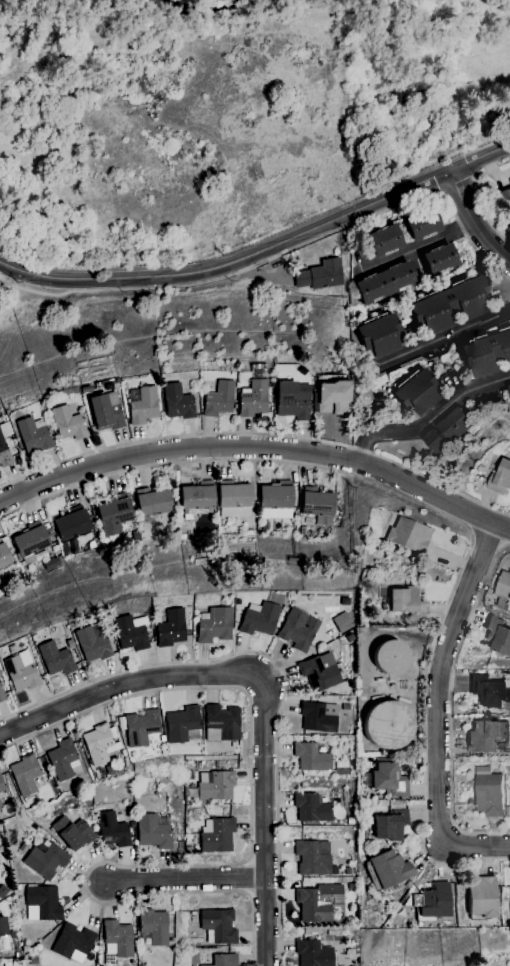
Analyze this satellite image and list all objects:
river: (152, 5)
park: (226, 115)
road: (456, 188)
road: (475, 196)
building: (505, 202)
road: (472, 221)
building: (422, 224)
building: (384, 240)
road: (419, 246)
road: (262, 251)
road: (278, 255)
building: (440, 259)
building: (320, 276)
building: (386, 282)
building: (451, 304)
building: (380, 334)
road: (445, 338)
building: (486, 353)
building: (262, 367)
building: (509, 385)
building: (85, 389)
building: (417, 392)
building: (332, 397)
building: (219, 399)
building: (254, 399)
building: (293, 400)
building: (178, 402)
building: (143, 405)
building: (106, 411)
road: (427, 418)
building: (10, 419)
building: (68, 423)
building: (448, 429)
road: (258, 434)
building: (34, 435)
road: (248, 448)
building: (4, 453)
building: (481, 468)
building: (501, 478)
building: (119, 496)
building: (276, 496)
building: (197, 499)
building: (234, 499)
building: (152, 502)
building: (318, 505)
road: (438, 512)
building: (113, 516)
building: (71, 525)
road: (501, 525)
building: (269, 534)
building: (182, 537)
building: (408, 537)
road: (486, 542)
building: (31, 543)
building: (4, 552)
building: (362, 578)
building: (503, 590)
building: (234, 602)
building: (406, 602)
building: (282, 609)
building: (234, 616)
building: (258, 619)
building: (341, 623)
building: (213, 625)
building: (150, 626)
building: (170, 628)
building: (295, 631)
building: (129, 634)
building: (498, 635)
building: (69, 644)
building: (92, 645)
building: (9, 649)
building: (389, 657)
building: (55, 659)
road: (279, 670)
building: (20, 672)
building: (319, 672)
building: (379, 680)
road: (125, 684)
building: (352, 684)
building: (392, 686)
building: (490, 691)
building: (1, 696)
road: (450, 705)
road: (437, 711)
building: (318, 717)
building: (181, 724)
building: (221, 724)
building: (387, 725)
building: (141, 727)
building: (488, 735)
building: (100, 743)
building: (311, 757)
building: (62, 760)
building: (461, 760)
building: (25, 774)
building: (388, 780)
building: (2, 785)
building: (215, 786)
building: (488, 792)
building: (130, 804)
building: (0, 805)
building: (311, 809)
building: (352, 820)
road: (264, 821)
building: (368, 822)
building: (390, 826)
building: (113, 830)
building: (153, 831)
building: (73, 833)
building: (216, 835)
building: (24, 848)
building: (187, 849)
road: (248, 859)
building: (310, 859)
building: (45, 861)
building: (387, 869)
building: (347, 871)
road: (185, 879)
building: (407, 885)
building: (3, 892)
building: (482, 896)
building: (433, 901)
building: (318, 902)
building: (42, 903)
building: (218, 926)
building: (152, 927)
building: (3, 933)
building: (117, 939)
building: (73, 943)
building: (25, 949)
building: (94, 949)
building: (312, 954)
building: (225, 960)
building: (33, 961)

